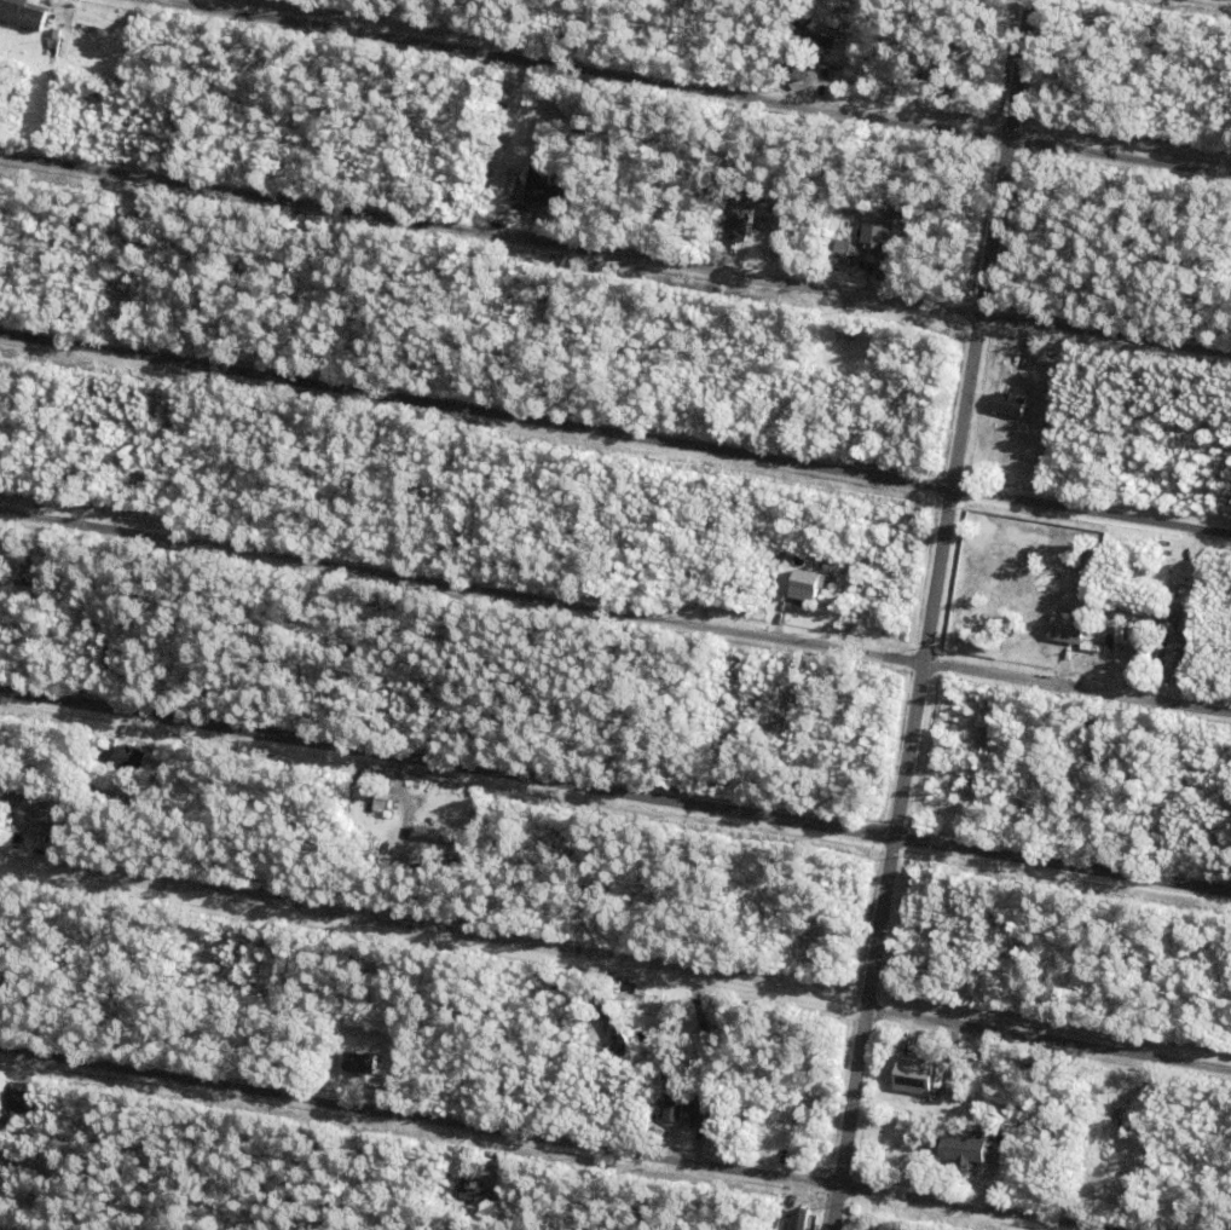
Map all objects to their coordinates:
building: (24, 19)
building: (94, 23)
building: (56, 36)
building: (820, 42)
building: (801, 73)
building: (890, 86)
road: (694, 87)
building: (915, 91)
building: (542, 190)
building: (738, 224)
building: (861, 230)
building: (878, 231)
road: (615, 255)
building: (843, 255)
building: (890, 272)
building: (125, 276)
building: (110, 310)
building: (875, 339)
building: (1012, 400)
road: (614, 435)
building: (123, 449)
building: (141, 478)
building: (807, 583)
building: (830, 611)
road: (614, 613)
road: (934, 614)
building: (850, 617)
building: (803, 620)
building: (1171, 620)
building: (1069, 625)
building: (1180, 649)
building: (1143, 652)
building: (723, 749)
building: (162, 755)
building: (132, 757)
building: (1091, 763)
building: (973, 785)
building: (953, 790)
road: (614, 791)
building: (380, 798)
building: (48, 802)
building: (401, 802)
building: (418, 810)
building: (36, 818)
building: (33, 832)
building: (430, 835)
building: (265, 942)
building: (272, 952)
building: (254, 954)
road: (615, 970)
building: (617, 1029)
building: (710, 1040)
building: (646, 1043)
building: (385, 1055)
building: (358, 1062)
building: (397, 1067)
building: (1015, 1073)
building: (914, 1075)
building: (601, 1078)
building: (954, 1081)
building: (21, 1102)
building: (1151, 1105)
building: (678, 1107)
building: (706, 1108)
building: (588, 1111)
building: (584, 1124)
building: (1001, 1132)
road: (556, 1137)
building: (966, 1148)
building: (470, 1159)
building: (8, 1165)
building: (496, 1173)
building: (474, 1186)
building: (793, 1223)
building: (485, 1228)
road: (4, 1229)

